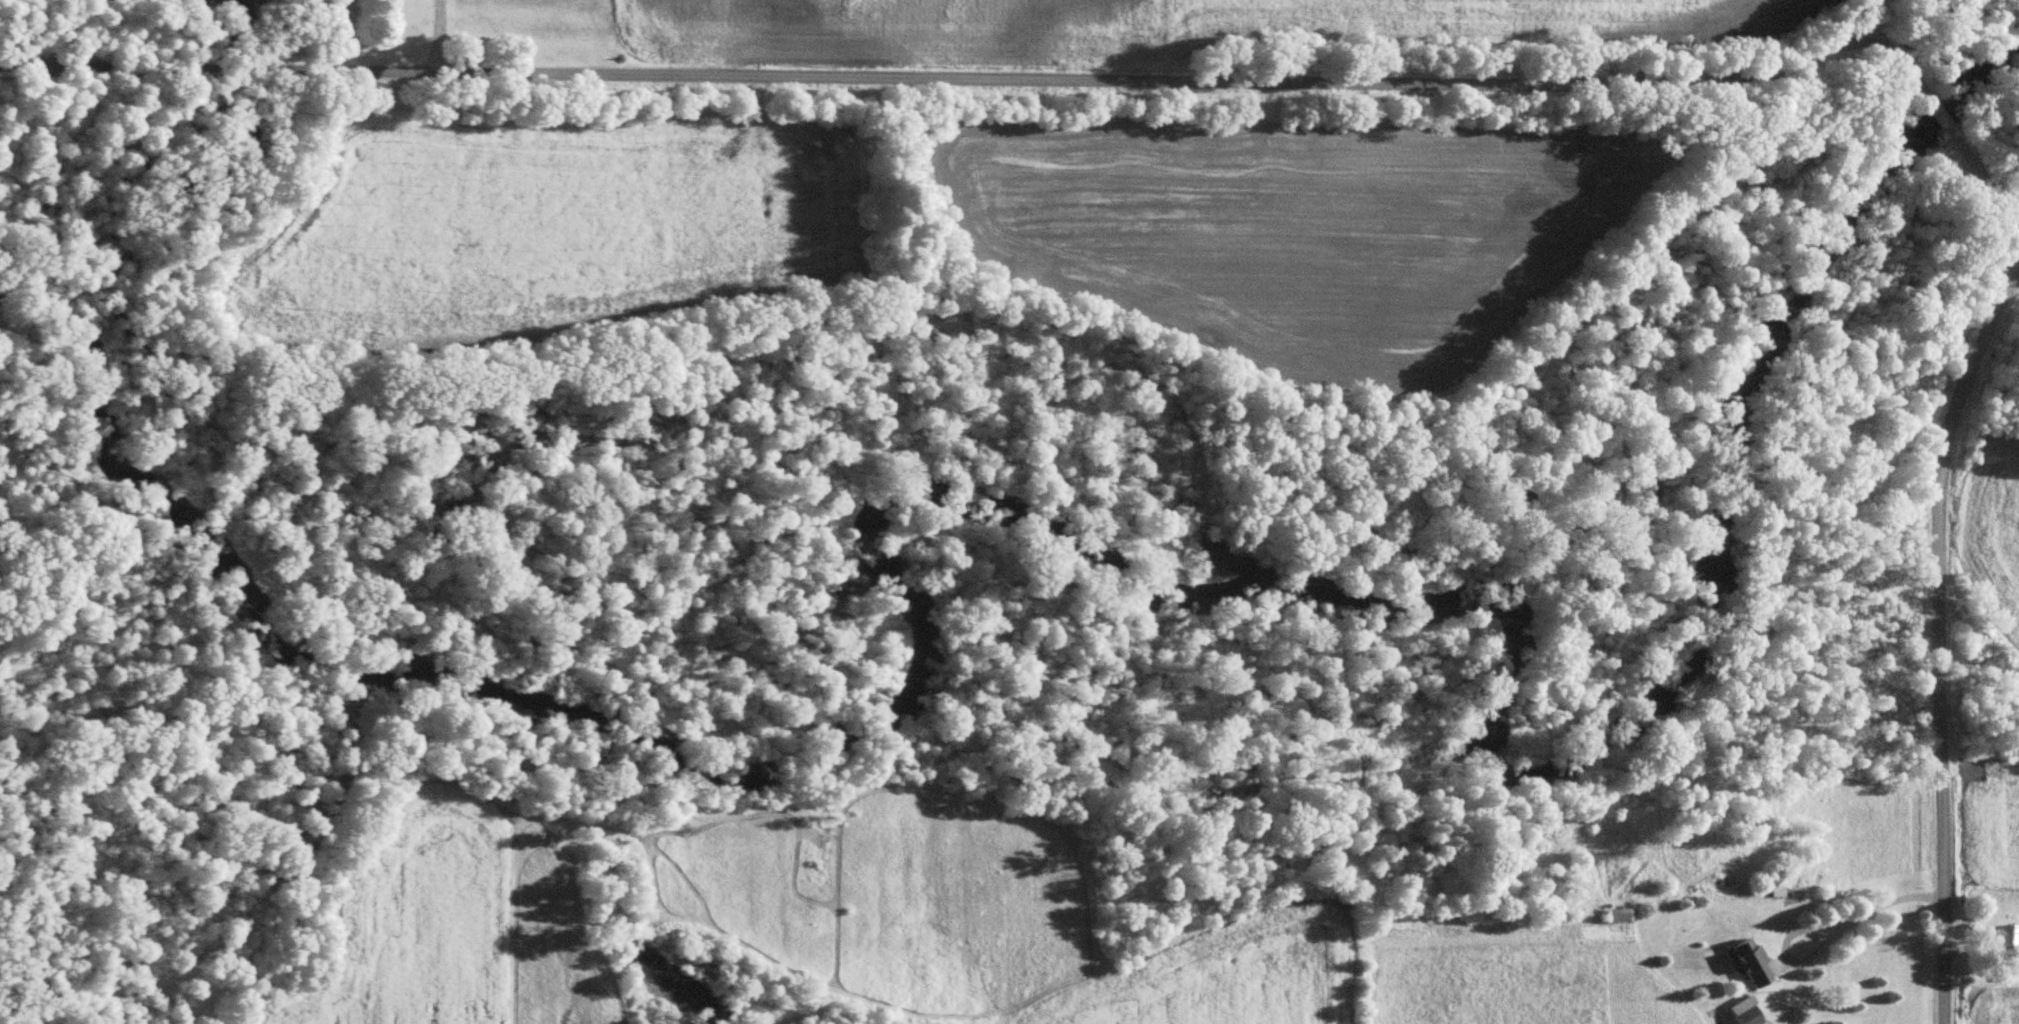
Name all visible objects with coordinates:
road: (98, 33)
road: (440, 35)
road: (1061, 78)
river: (1119, 488)
road: (1939, 629)
building: (1771, 885)
building: (1613, 912)
road: (1825, 932)
building: (2001, 933)
building: (1745, 960)
building: (1740, 1011)

